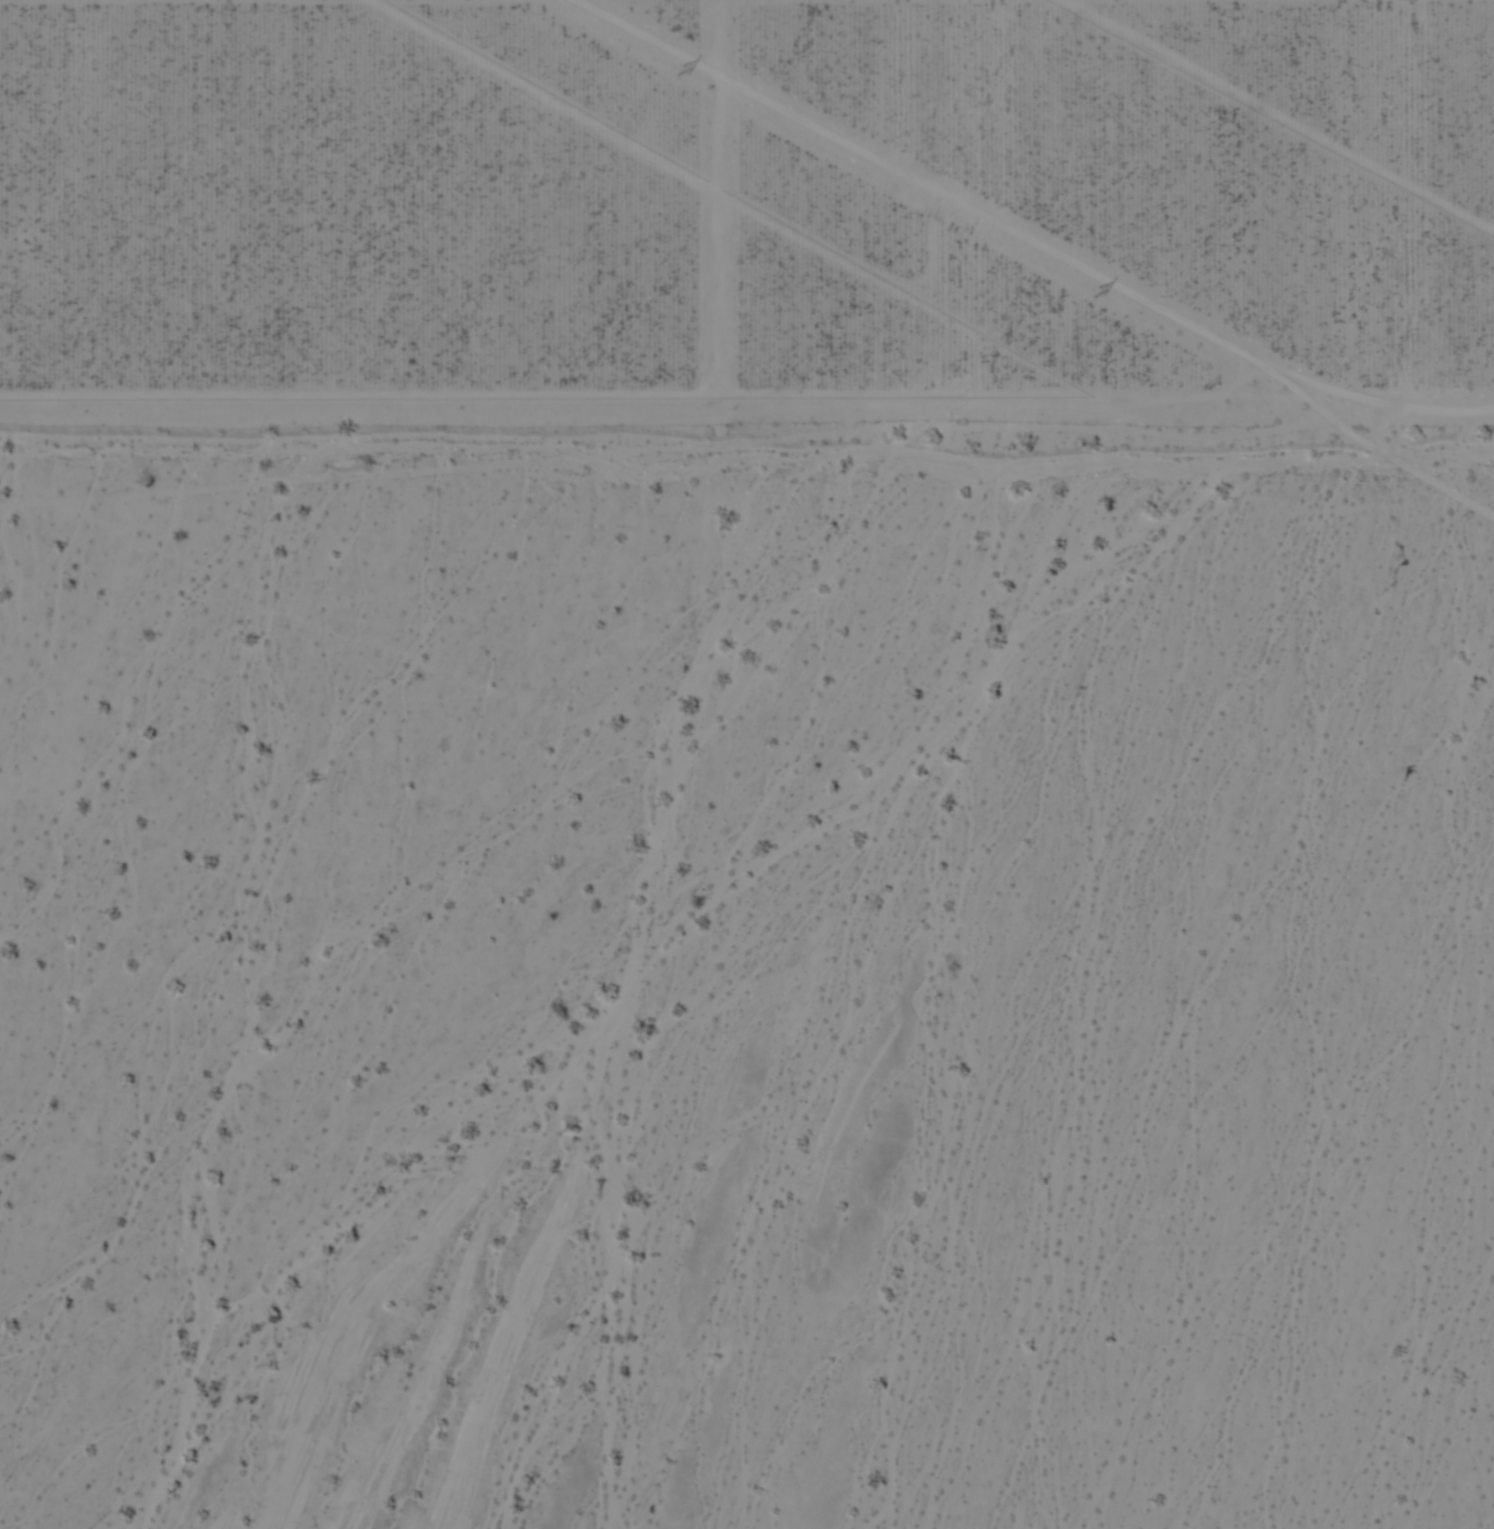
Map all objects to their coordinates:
power tower: (674, 66)
crop: (745, 200)
power tower: (1098, 291)

